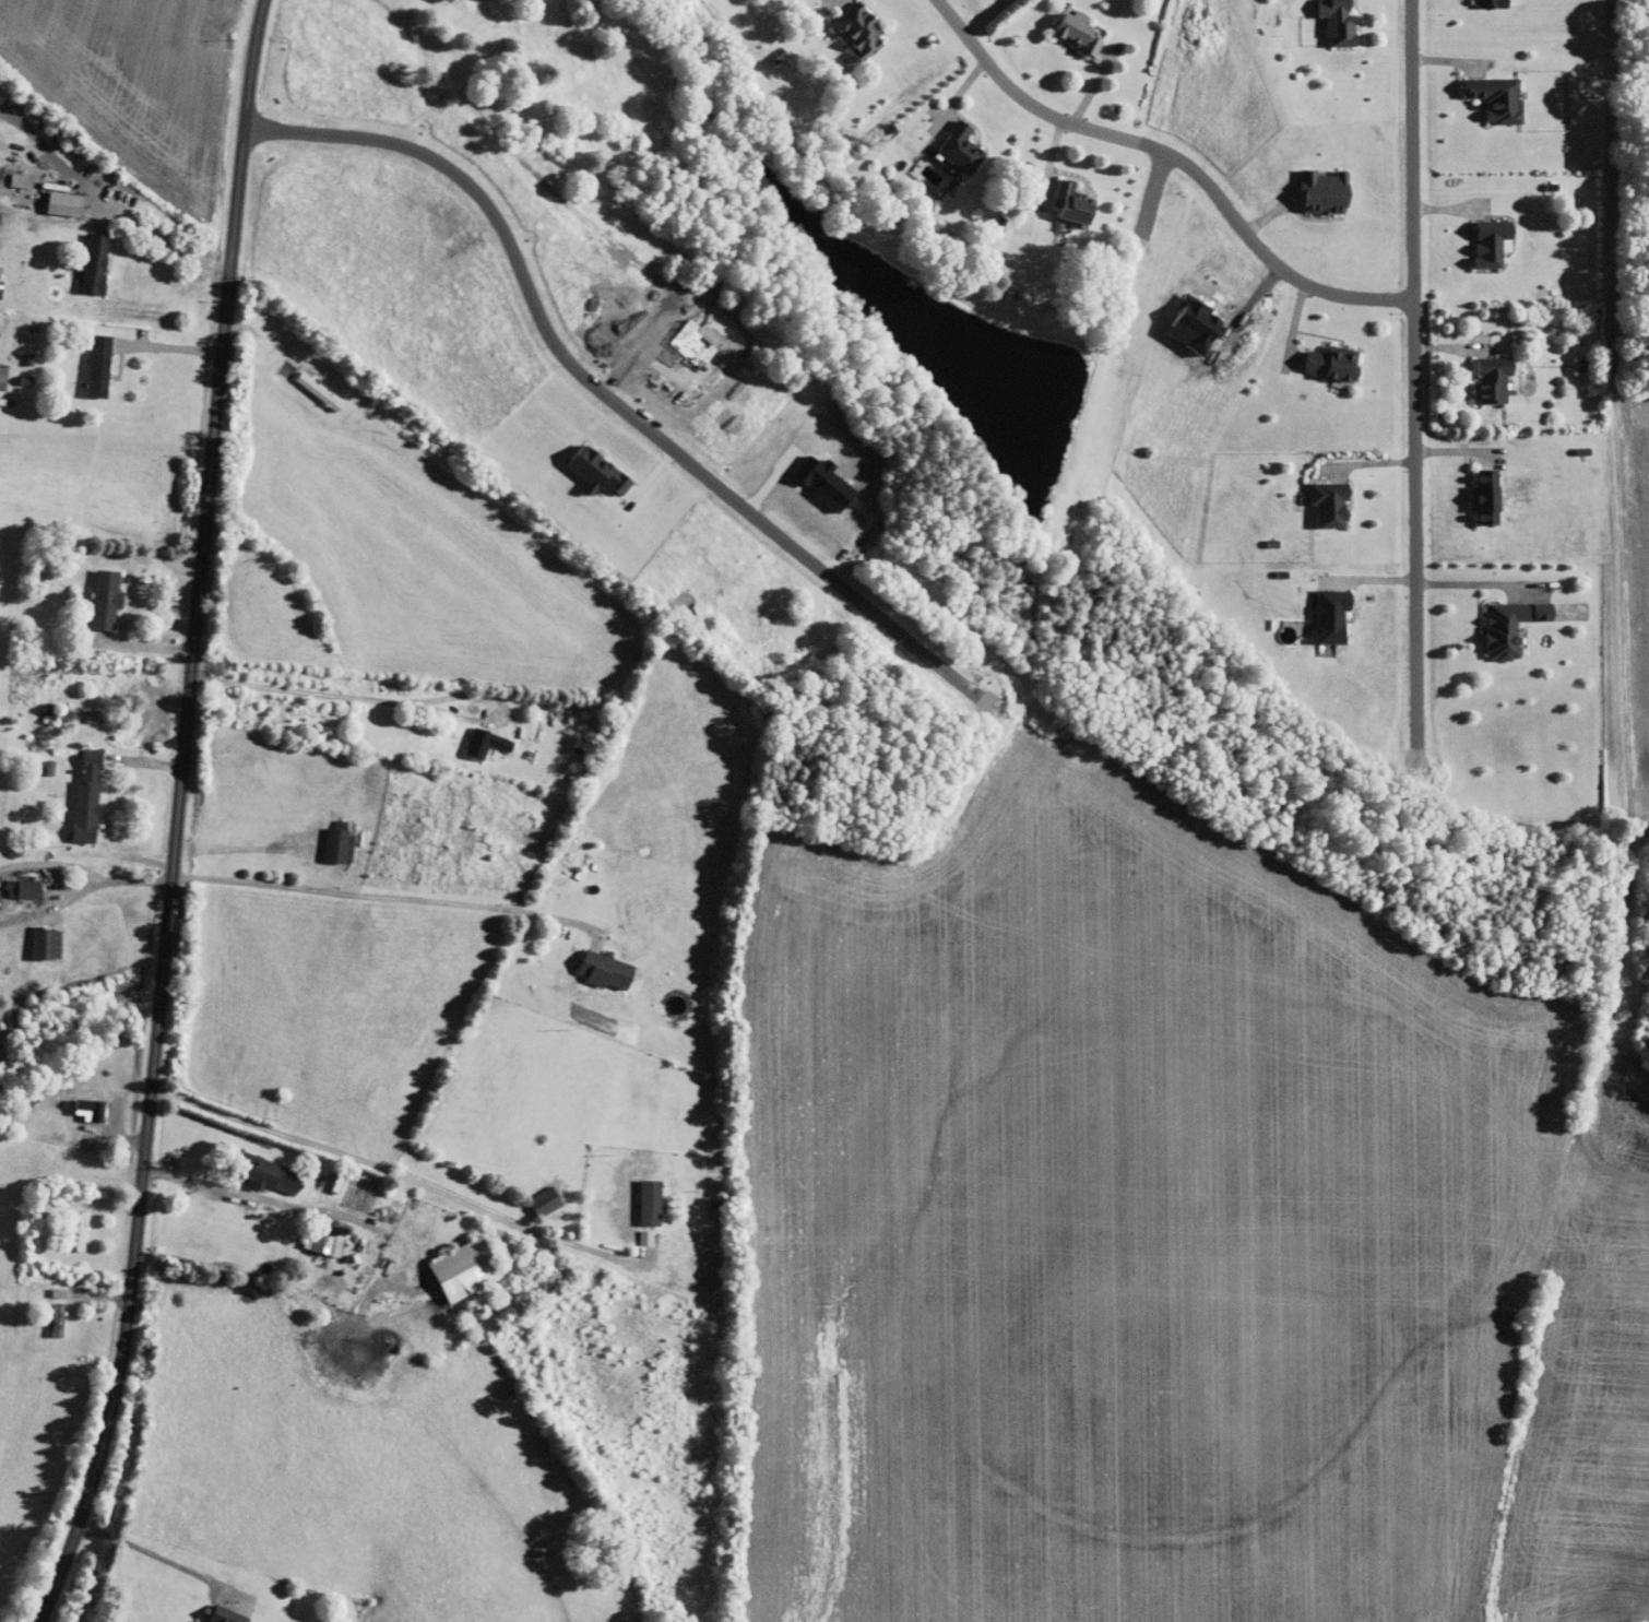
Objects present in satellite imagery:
building: (1493, 3)
building: (1342, 22)
building: (863, 29)
building: (1081, 33)
building: (779, 55)
building: (1500, 98)
building: (964, 147)
road: (1175, 155)
building: (20, 179)
road: (1608, 179)
building: (1328, 192)
building: (66, 203)
building: (1078, 203)
road: (168, 245)
building: (1494, 247)
building: (97, 263)
road: (170, 348)
building: (1337, 364)
building: (100, 366)
building: (290, 366)
road: (1413, 380)
building: (1496, 380)
building: (318, 390)
road: (607, 395)
building: (600, 471)
building: (1491, 497)
building: (1333, 505)
building: (108, 597)
building: (1336, 614)
building: (1515, 625)
road: (140, 646)
road: (410, 700)
building: (487, 742)
building: (90, 796)
road: (178, 815)
building: (341, 844)
road: (115, 878)
building: (25, 888)
road: (381, 896)
building: (49, 943)
building: (608, 969)
building: (93, 1109)
road: (389, 1170)
building: (270, 1172)
building: (547, 1200)
building: (654, 1201)
building: (330, 1239)
building: (468, 1268)
building: (60, 1318)
road: (149, 1551)
building: (227, 1617)
building: (203, 1621)

